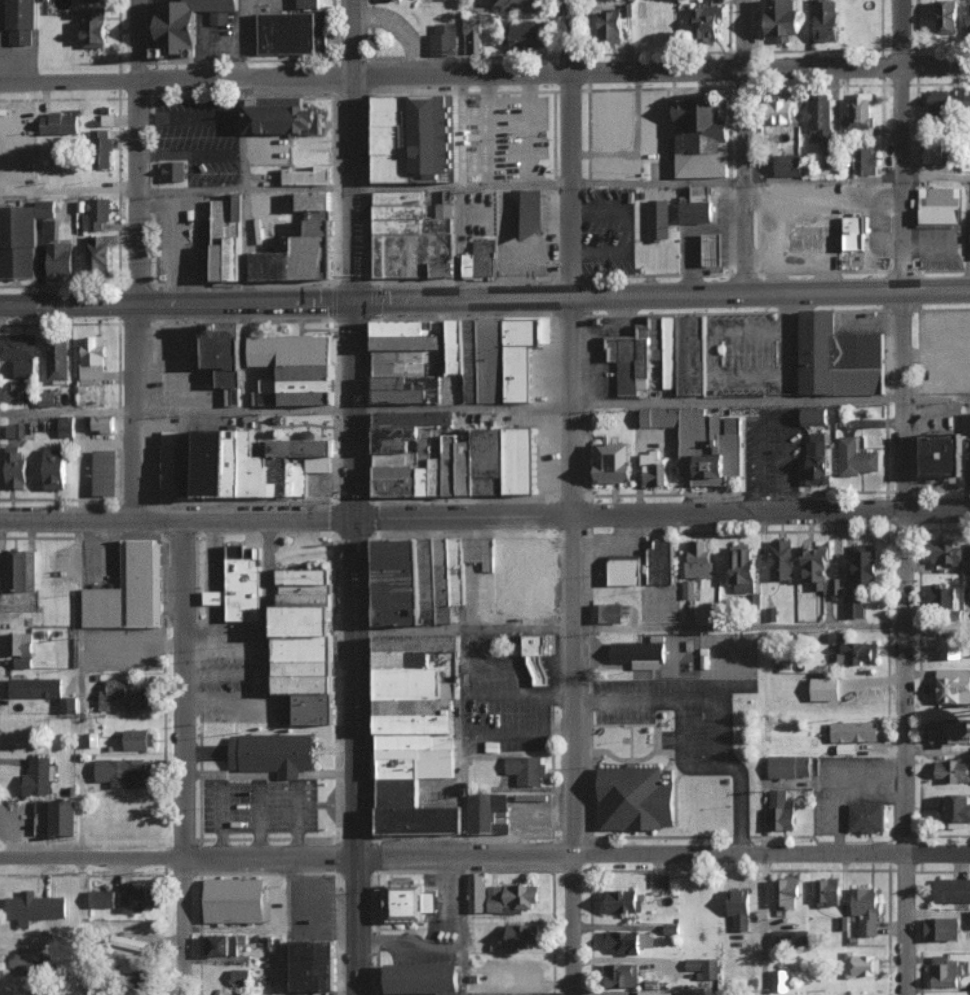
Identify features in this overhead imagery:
building: (43, 0)
building: (90, 0)
building: (309, 3)
building: (947, 17)
building: (785, 19)
building: (826, 19)
building: (707, 21)
building: (21, 22)
building: (189, 23)
building: (615, 23)
building: (968, 24)
building: (95, 27)
building: (295, 33)
building: (472, 34)
building: (526, 35)
building: (444, 39)
road: (660, 70)
road: (175, 77)
building: (939, 102)
building: (398, 104)
building: (969, 104)
building: (783, 109)
building: (860, 111)
building: (283, 117)
building: (820, 117)
building: (398, 118)
building: (108, 119)
building: (59, 124)
road: (487, 127)
road: (527, 127)
road: (243, 131)
parking lot: (629, 131)
building: (703, 133)
parking lot: (200, 137)
parking lot: (508, 137)
building: (439, 138)
building: (398, 139)
road: (747, 145)
building: (102, 148)
parking lot: (268, 150)
road: (351, 151)
building: (932, 151)
building: (865, 161)
building: (788, 165)
building: (398, 168)
building: (949, 168)
building: (176, 171)
building: (310, 177)
road: (551, 183)
road: (66, 189)
parking lot: (852, 189)
building: (404, 198)
building: (317, 201)
building: (943, 206)
building: (699, 207)
gas station: (699, 207)
building: (404, 211)
building: (527, 213)
building: (96, 214)
building: (320, 215)
parking lot: (883, 217)
building: (660, 220)
road: (871, 220)
building: (415, 226)
building: (324, 227)
parking lot: (608, 231)
building: (856, 231)
building: (231, 238)
building: (18, 243)
road: (248, 245)
parking lot: (178, 247)
parking lot: (939, 248)
building: (717, 249)
building: (99, 252)
road: (899, 255)
building: (418, 256)
road: (572, 256)
building: (483, 258)
road: (131, 259)
building: (300, 259)
building: (60, 260)
road: (808, 290)
road: (500, 298)
road: (230, 303)
traffic signals: (353, 303)
road: (54, 304)
building: (411, 328)
building: (527, 330)
building: (659, 338)
building: (412, 343)
building: (17, 346)
building: (457, 347)
parking lot: (599, 349)
building: (294, 350)
parking lot: (946, 351)
building: (646, 352)
building: (673, 352)
building: (820, 353)
building: (227, 355)
building: (694, 355)
building: (409, 356)
parking lot: (748, 357)
building: (58, 359)
building: (93, 360)
building: (493, 361)
building: (472, 362)
building: (626, 362)
building: (862, 364)
building: (25, 369)
parking lot: (179, 369)
building: (403, 369)
building: (310, 373)
building: (522, 374)
road: (719, 375)
building: (411, 383)
building: (311, 387)
building: (11, 392)
building: (411, 397)
building: (46, 399)
building: (311, 399)
road: (770, 401)
road: (64, 410)
building: (815, 416)
building: (661, 417)
building: (416, 419)
building: (280, 420)
building: (965, 423)
building: (104, 424)
road: (773, 424)
building: (67, 426)
building: (15, 430)
building: (171, 438)
building: (402, 438)
building: (306, 448)
building: (708, 449)
parking lot: (774, 449)
parking lot: (584, 450)
building: (946, 456)
building: (400, 458)
building: (856, 458)
building: (525, 460)
building: (817, 460)
building: (495, 461)
parking lot: (155, 463)
building: (215, 463)
building: (238, 463)
building: (617, 463)
building: (321, 464)
building: (458, 465)
building: (15, 467)
building: (56, 468)
building: (257, 468)
building: (473, 468)
building: (654, 469)
building: (171, 471)
building: (189, 471)
building: (105, 472)
building: (399, 472)
building: (283, 476)
building: (302, 476)
building: (444, 477)
building: (430, 480)
building: (402, 487)
parking lot: (465, 507)
road: (660, 511)
road: (175, 518)
parking lot: (462, 526)
road: (214, 527)
building: (947, 551)
building: (483, 552)
building: (782, 558)
building: (698, 559)
building: (661, 561)
building: (866, 562)
building: (817, 568)
building: (16, 569)
parking lot: (600, 570)
building: (625, 570)
building: (743, 570)
building: (460, 571)
building: (505, 575)
building: (308, 576)
building: (535, 576)
building: (432, 581)
building: (446, 581)
building: (402, 582)
building: (145, 584)
building: (242, 584)
road: (209, 586)
road: (218, 586)
road: (223, 586)
road: (213, 587)
building: (688, 588)
building: (307, 589)
building: (942, 595)
building: (308, 600)
building: (855, 607)
building: (105, 608)
road: (268, 609)
building: (606, 612)
building: (306, 620)
parking lot: (244, 626)
road: (770, 626)
road: (462, 629)
road: (225, 637)
building: (421, 643)
building: (21, 648)
building: (306, 648)
building: (852, 648)
road: (353, 649)
building: (639, 652)
building: (539, 658)
building: (704, 658)
building: (406, 659)
building: (306, 668)
road: (225, 676)
parking lot: (228, 682)
building: (417, 683)
building: (306, 684)
building: (953, 685)
building: (35, 686)
building: (114, 691)
road: (519, 693)
building: (143, 698)
road: (225, 701)
building: (68, 704)
road: (724, 706)
building: (418, 707)
building: (315, 708)
parking lot: (507, 715)
parking lot: (624, 718)
building: (418, 725)
road: (519, 730)
building: (854, 730)
building: (949, 732)
building: (139, 738)
building: (419, 741)
road: (465, 742)
building: (845, 748)
building: (275, 753)
road: (906, 753)
road: (573, 754)
road: (682, 754)
road: (181, 756)
building: (420, 764)
building: (789, 765)
building: (953, 769)
building: (528, 770)
building: (124, 771)
building: (37, 776)
building: (401, 792)
building: (637, 798)
parking lot: (260, 805)
building: (36, 806)
building: (956, 809)
building: (782, 810)
building: (487, 811)
building: (61, 817)
building: (868, 818)
building: (423, 820)
road: (260, 822)
road: (297, 822)
road: (221, 823)
road: (661, 855)
road: (176, 857)
building: (952, 889)
building: (477, 892)
building: (787, 892)
building: (828, 892)
building: (512, 896)
building: (138, 897)
building: (102, 898)
building: (622, 900)
building: (237, 901)
building: (412, 902)
building: (34, 906)
building: (739, 909)
building: (866, 910)
building: (969, 920)
road: (464, 925)
road: (763, 925)
road: (285, 926)
building: (941, 927)
building: (671, 928)
building: (522, 935)
building: (791, 937)
building: (625, 940)
building: (133, 943)
building: (223, 944)
building: (861, 964)
building: (25, 965)
building: (316, 965)
building: (702, 967)
building: (945, 971)
building: (621, 974)
building: (240, 975)
building: (425, 978)
building: (780, 979)
building: (655, 992)
parking lot: (510, 993)
parking lot: (418, 994)

